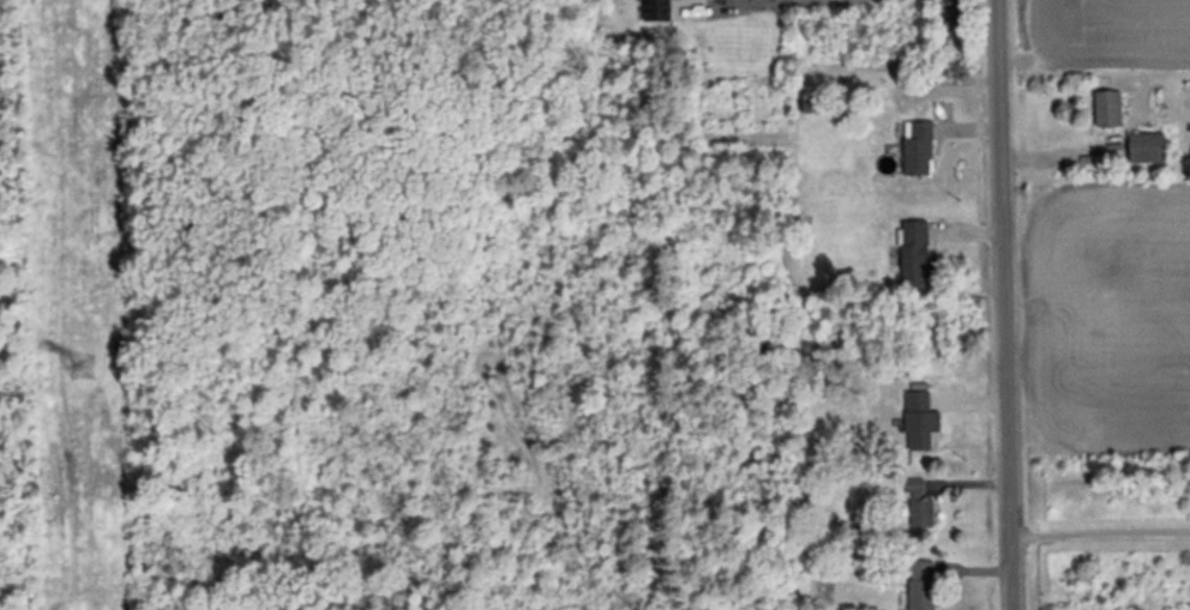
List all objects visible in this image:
road: (747, 5)
building: (656, 10)
building: (916, 146)
building: (1146, 146)
building: (914, 250)
road: (1005, 304)
power tower: (80, 364)
building: (919, 419)
building: (919, 503)
road: (1100, 531)
building: (921, 585)

